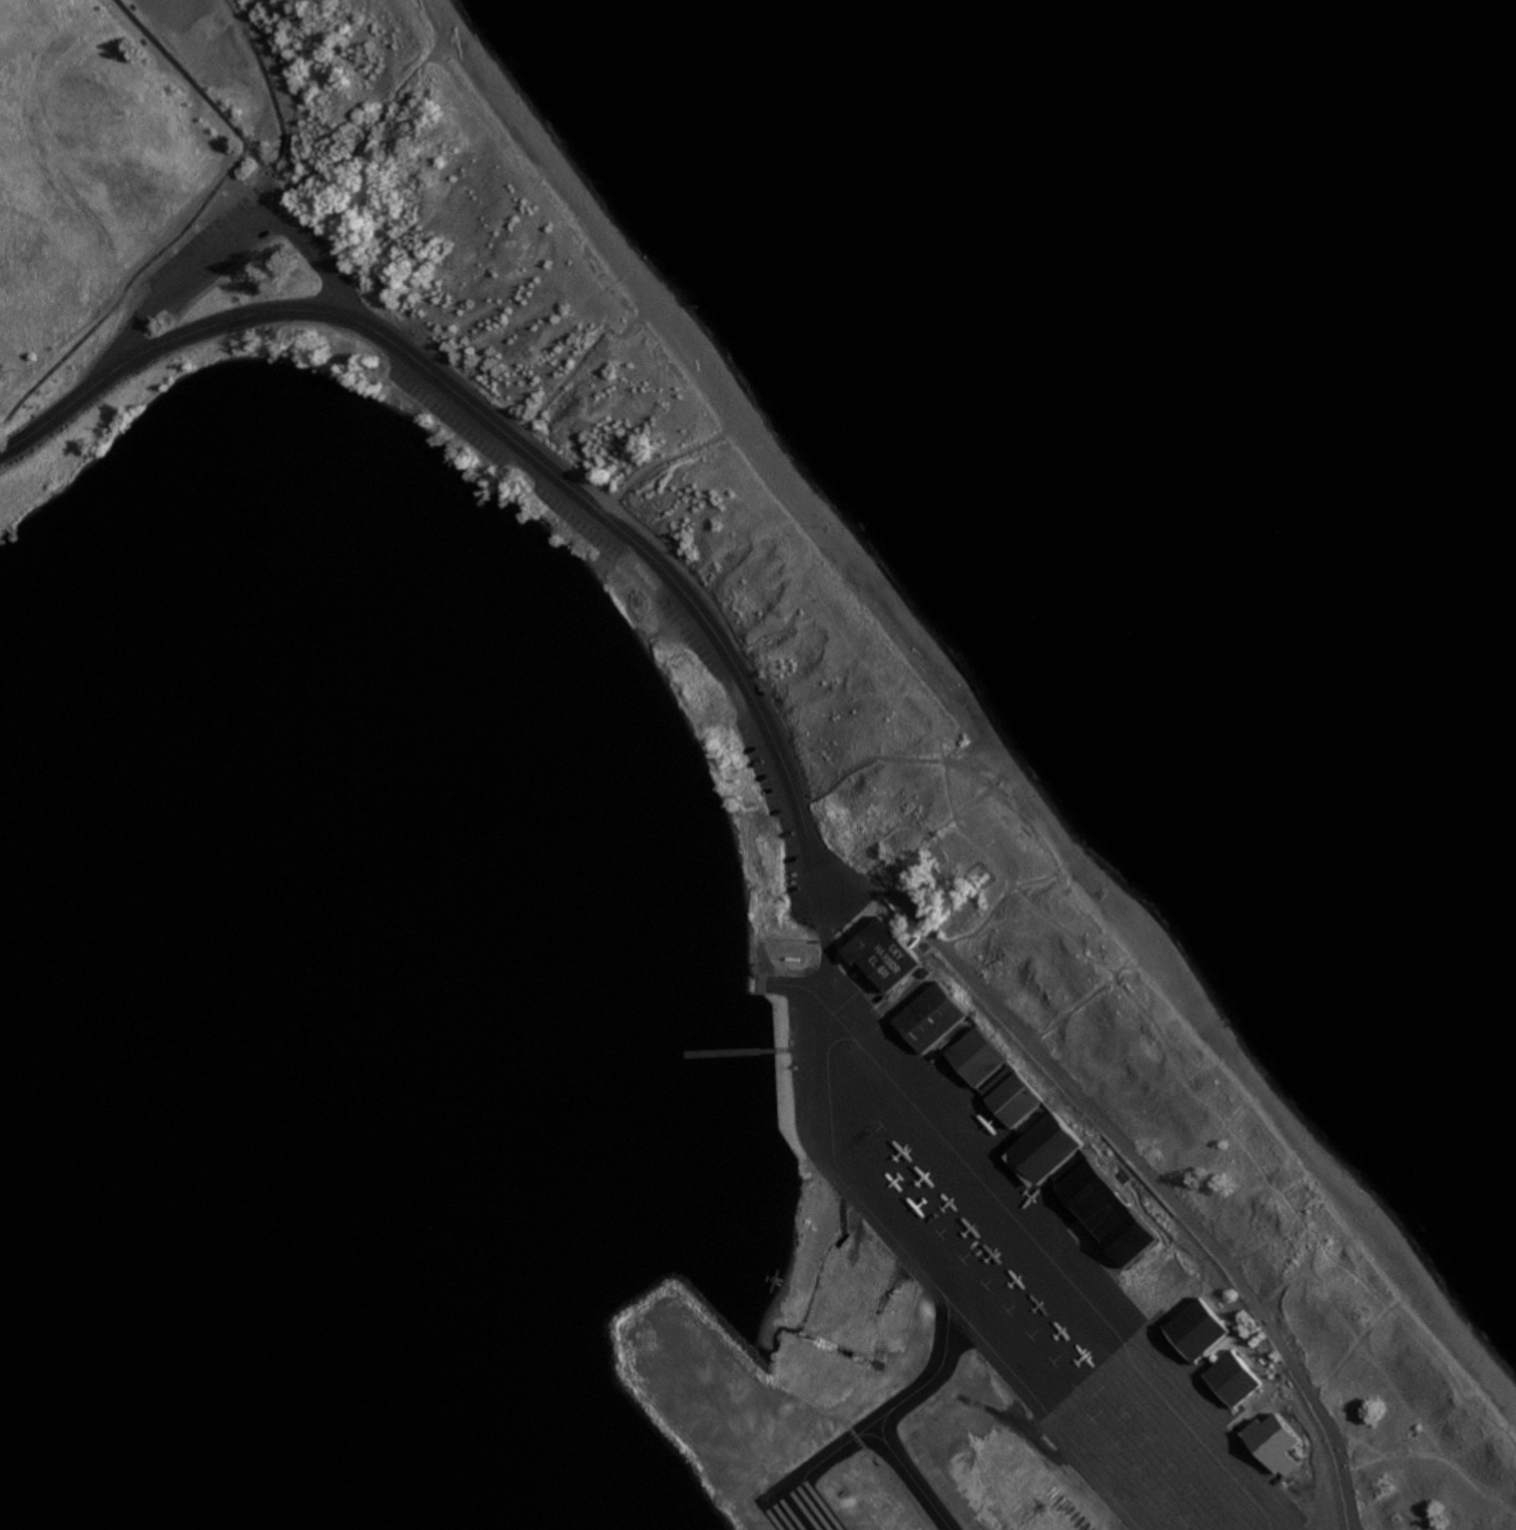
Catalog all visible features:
road: (230, 236)
parking lot: (193, 245)
road: (502, 435)
road: (889, 754)
road: (803, 800)
lighthouse: (986, 874)
road: (823, 921)
road: (825, 945)
airport hangar: (882, 951)
building: (882, 951)
airport taxiway: (808, 987)
airport hangar: (929, 1013)
building: (929, 1013)
road: (800, 1045)
pier: (728, 1049)
airport hangar: (976, 1053)
building: (976, 1053)
airport hangar: (1010, 1092)
building: (1010, 1092)
airport hangar: (1045, 1144)
building: (1045, 1144)
road: (1133, 1156)
airport hangar: (1083, 1183)
building: (1083, 1183)
airport hangar: (1125, 1233)
building: (1125, 1233)
airport apron: (1015, 1265)
airport taxiway: (926, 1274)
airport taxiway: (1066, 1281)
airport: (959, 1285)
airport hangar: (1196, 1326)
building: (1196, 1326)
airport hangar: (1231, 1375)
building: (1231, 1375)
airport taxiway: (1044, 1416)
airport hangar: (1273, 1439)
building: (1273, 1439)
airport taxiway: (910, 1476)
airport runway: (796, 1506)

